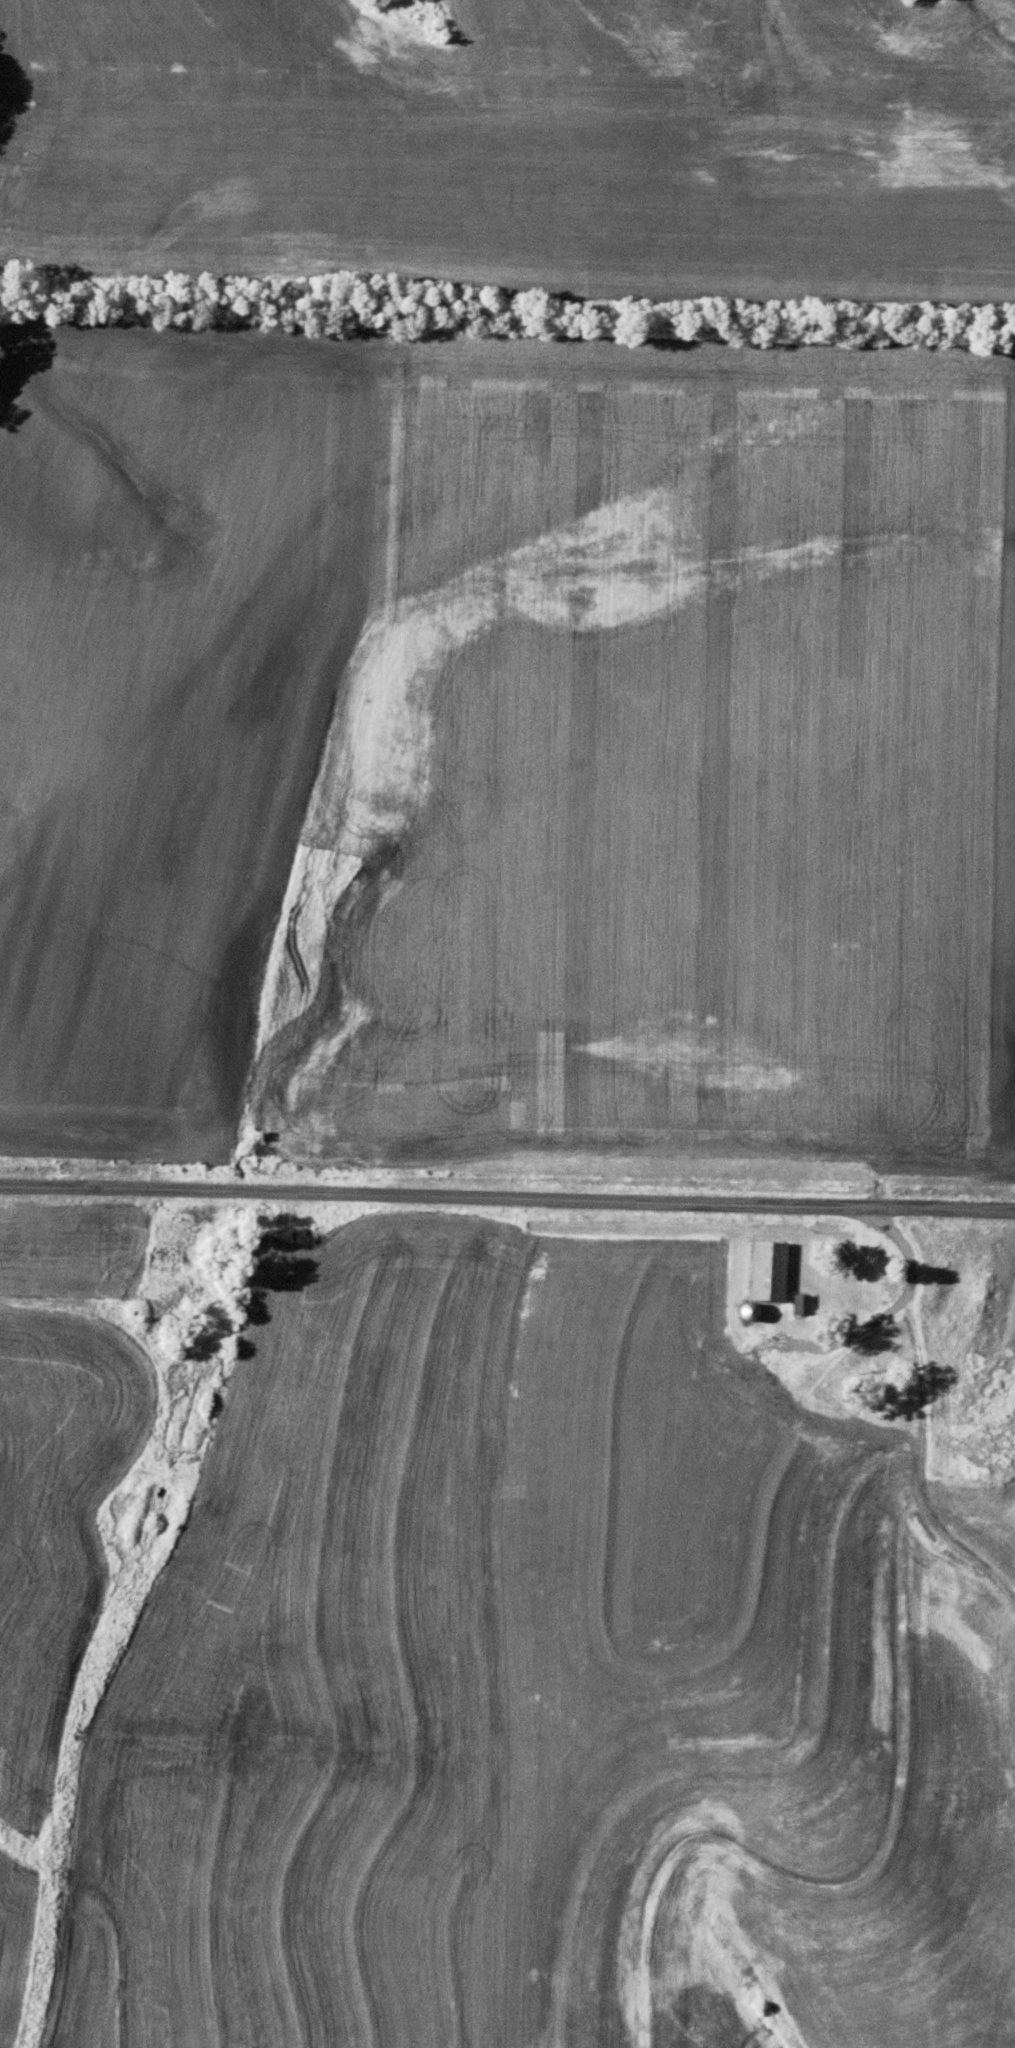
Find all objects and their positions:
road: (507, 1201)
building: (765, 1268)

